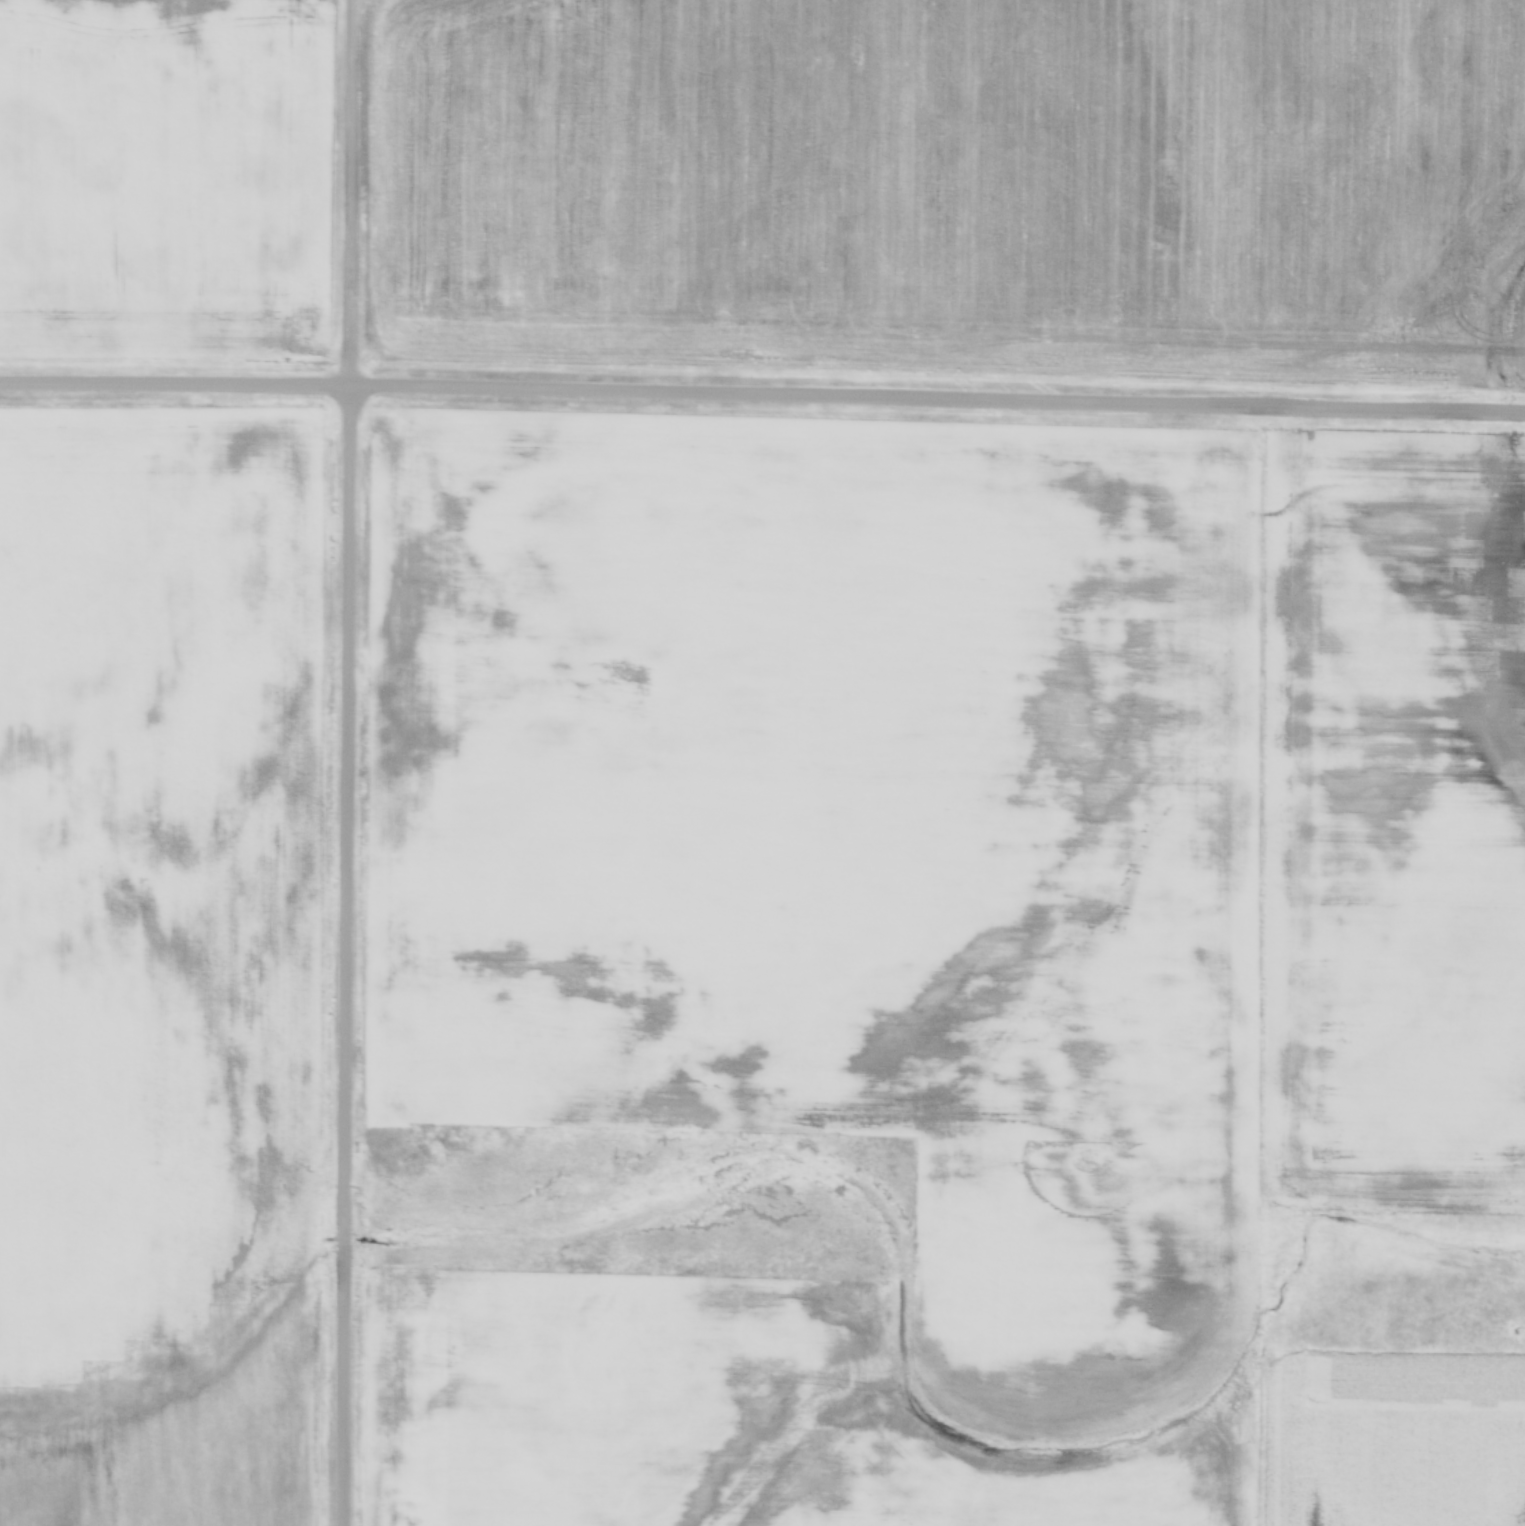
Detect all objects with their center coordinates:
road: (762, 397)
road: (349, 762)

